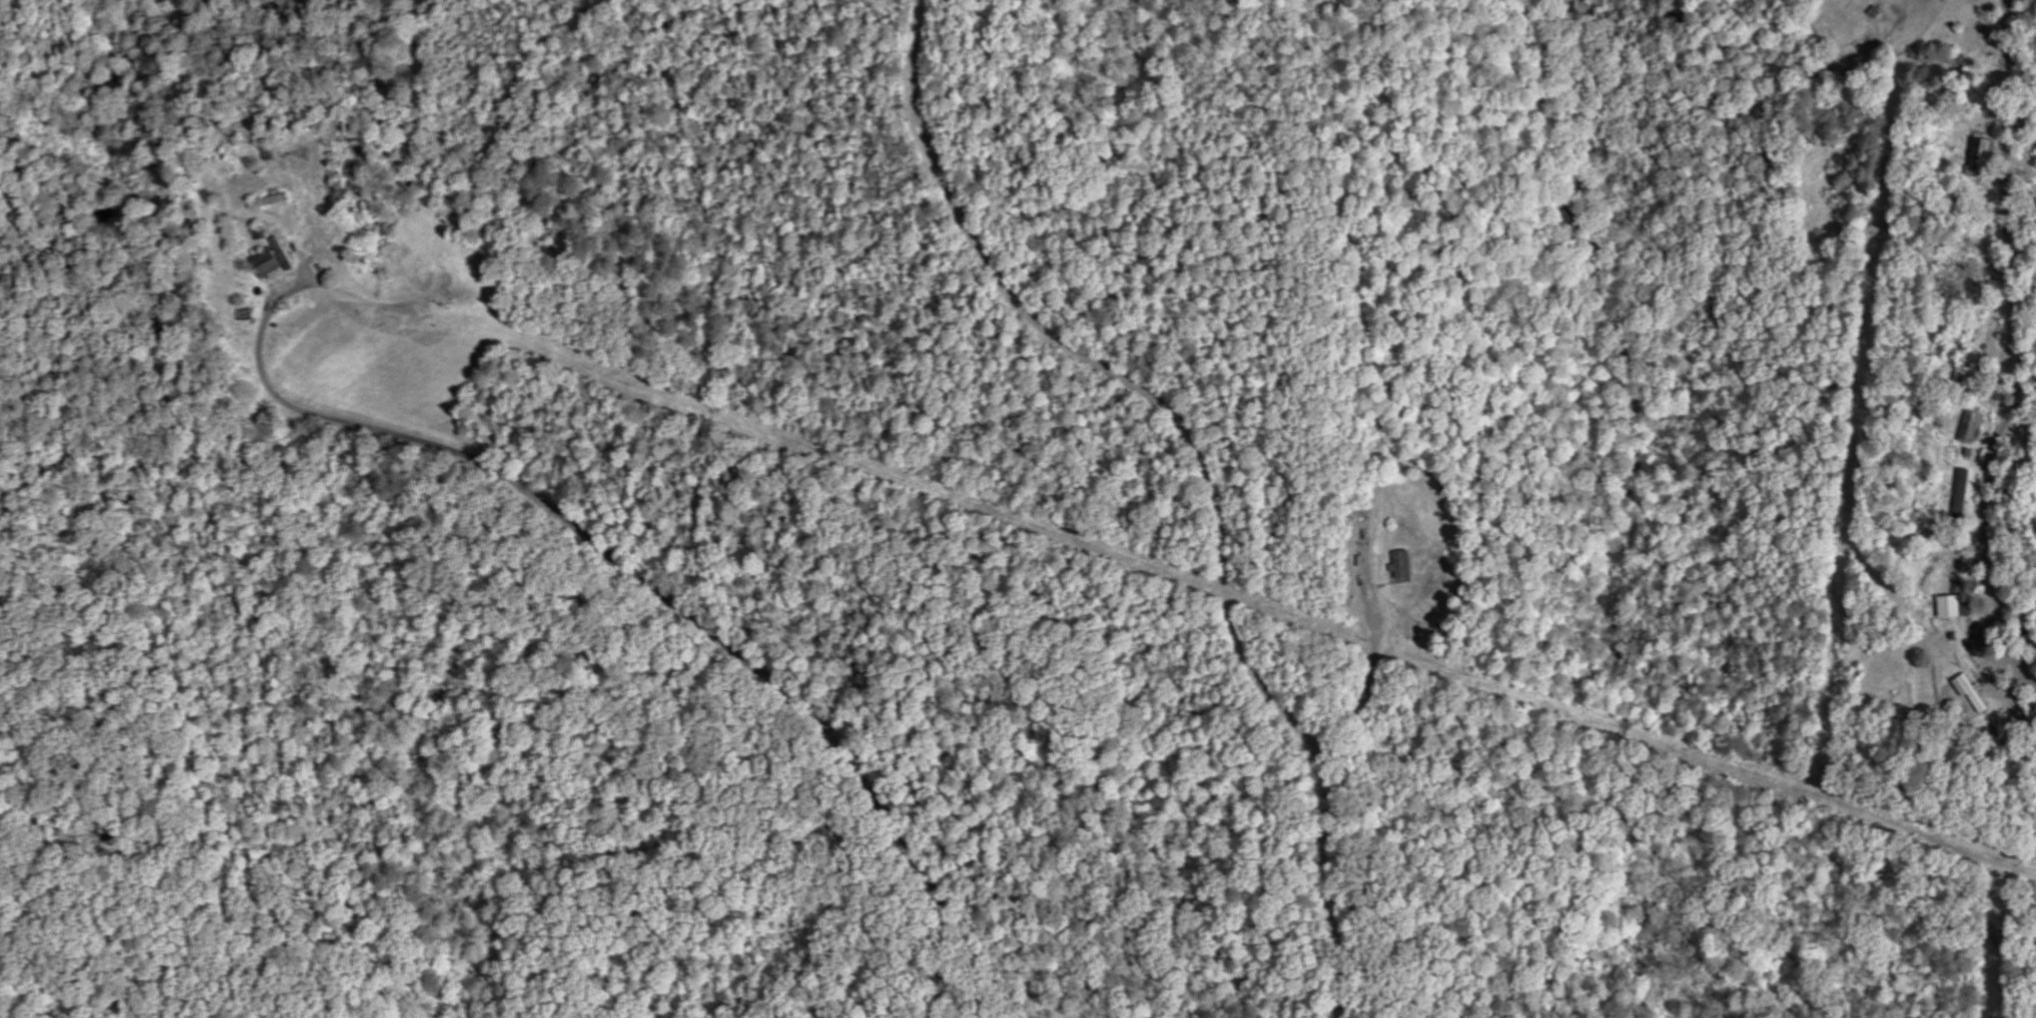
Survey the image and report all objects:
road: (1940, 75)
building: (276, 269)
road: (2023, 351)
building: (1979, 428)
road: (1205, 468)
building: (1408, 565)
road: (654, 583)
building: (1962, 607)
road: (1371, 688)
building: (1979, 693)

